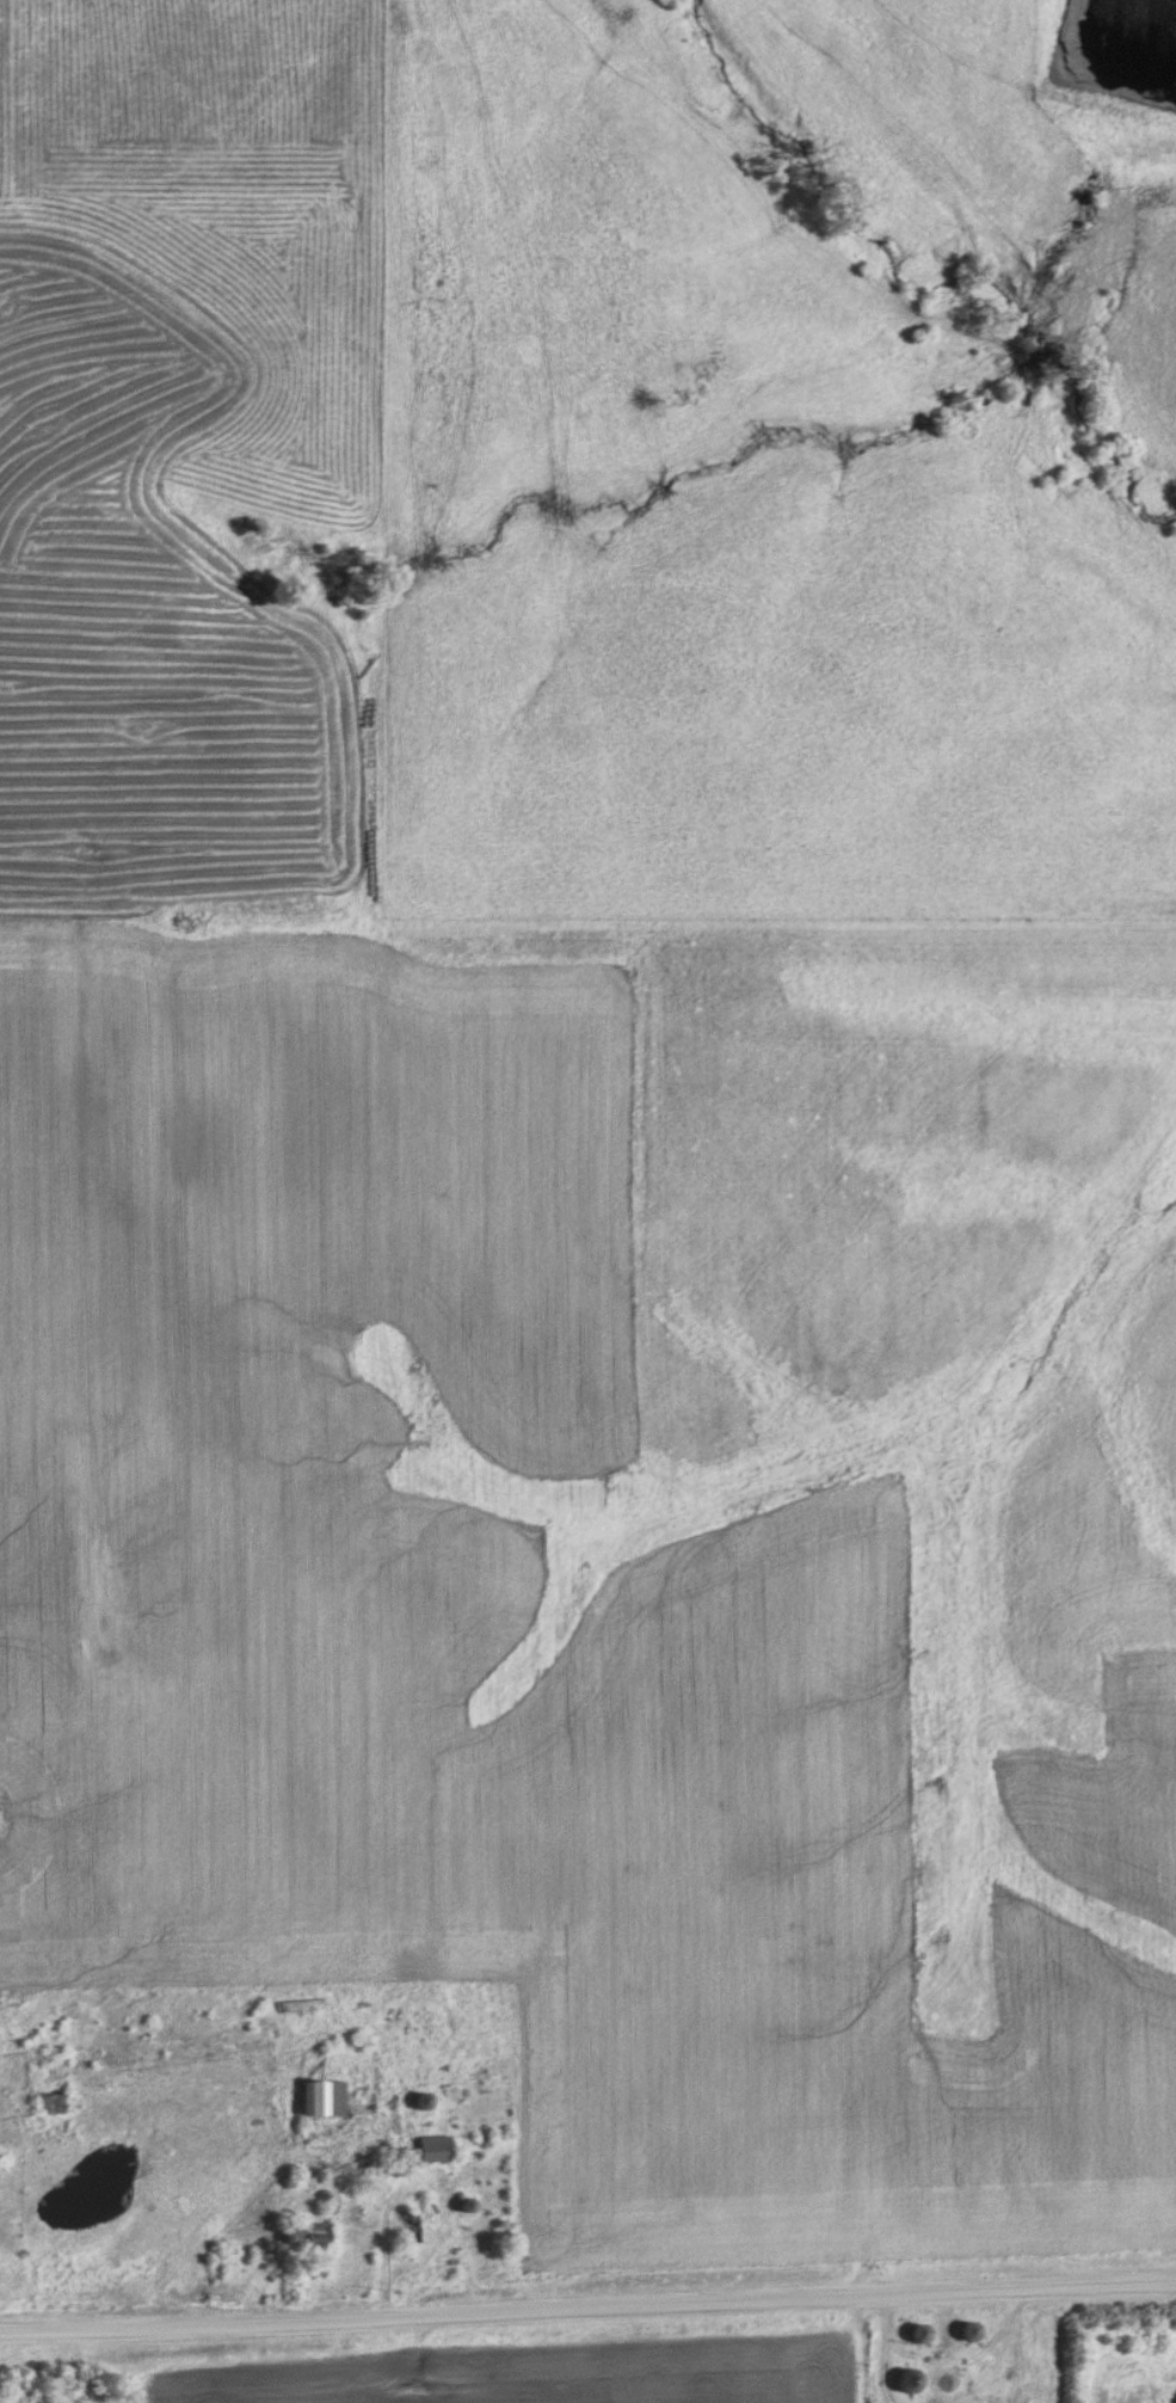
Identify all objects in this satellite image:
building: (293, 2003)
building: (316, 2096)
building: (41, 2100)
building: (411, 2102)
building: (427, 2146)
building: (301, 2233)
road: (587, 2307)
building: (909, 2331)
building: (899, 2378)

